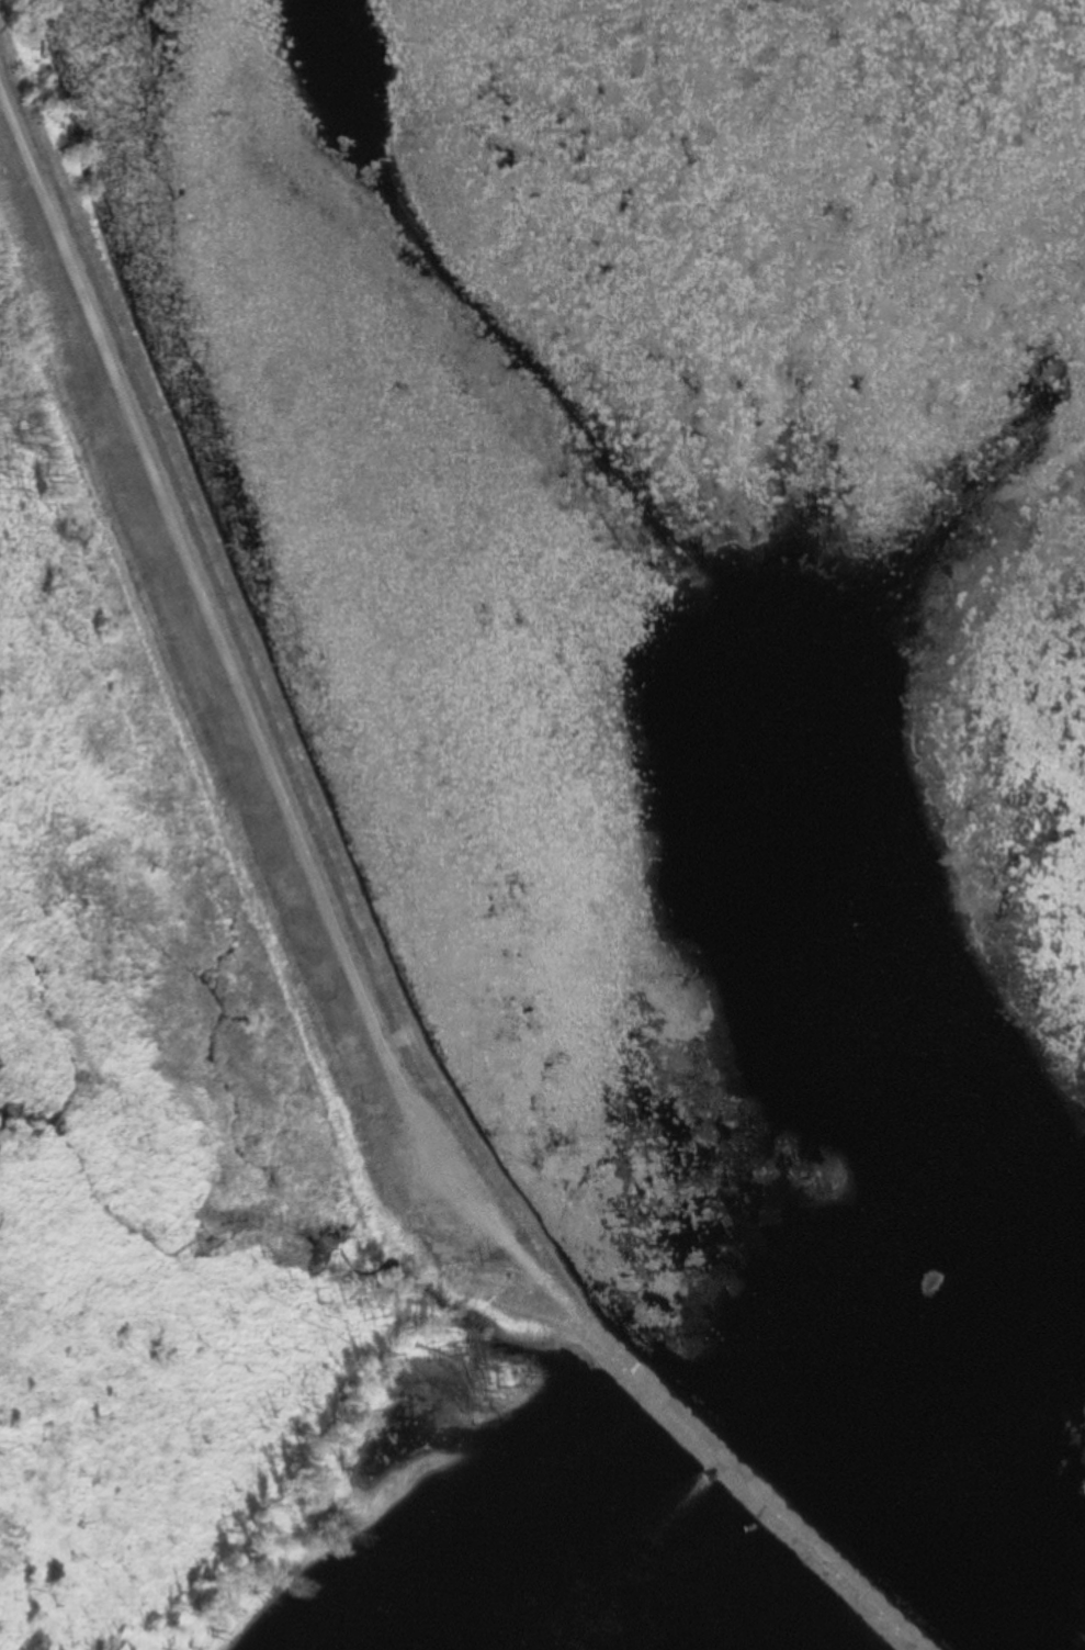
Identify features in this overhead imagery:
road: (227, 676)
river: (777, 1419)
dam: (742, 1486)

